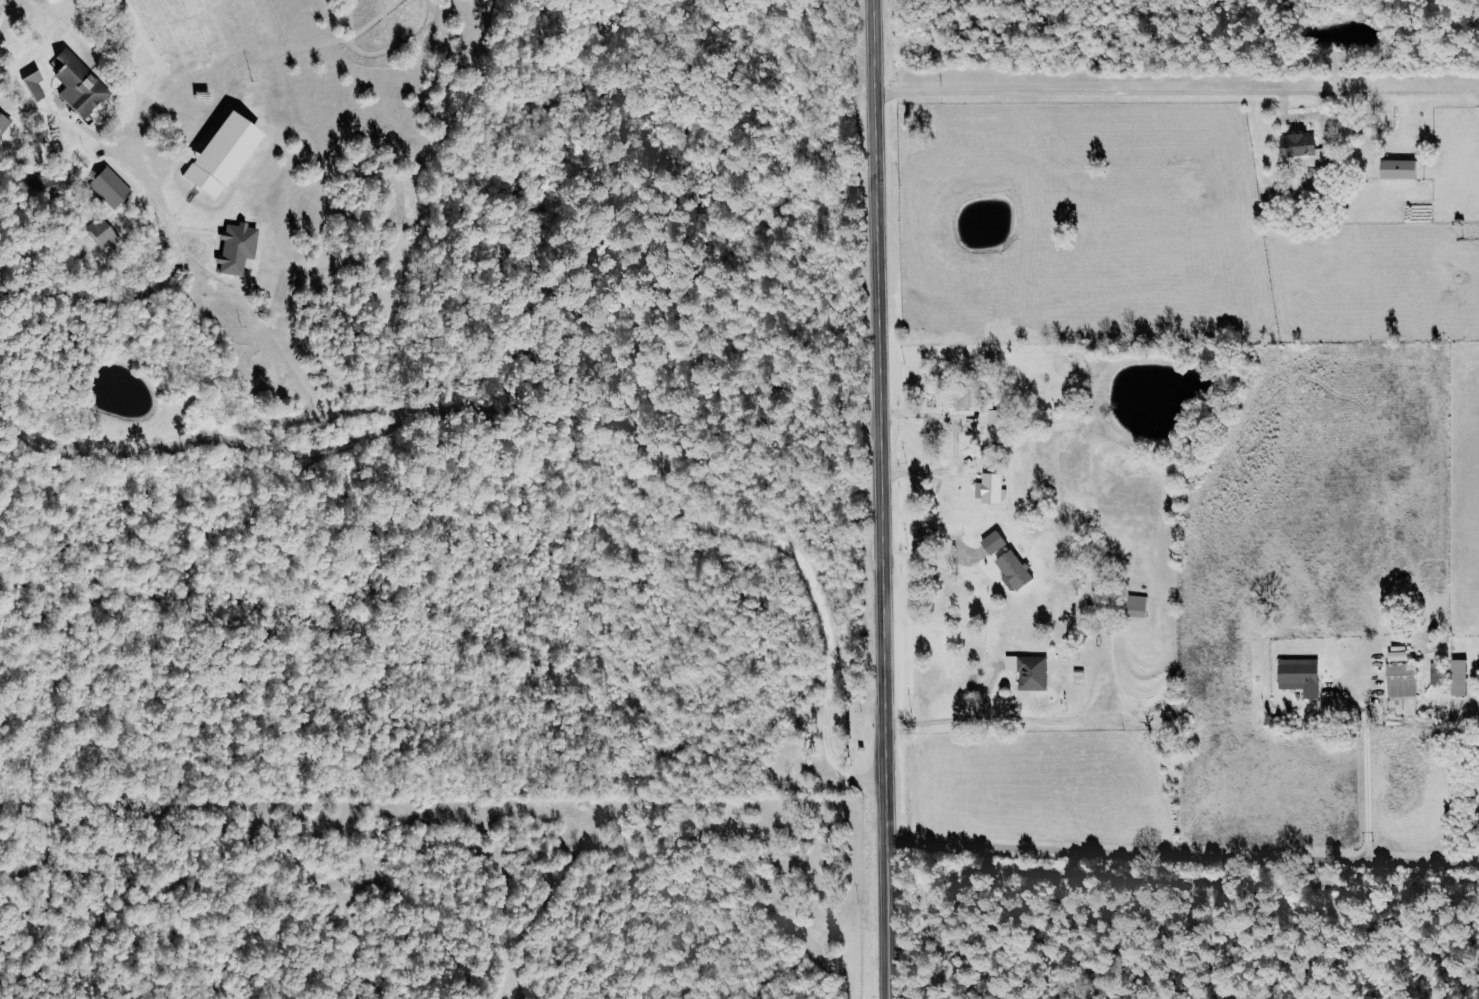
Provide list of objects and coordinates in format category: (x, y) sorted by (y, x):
building: (81, 84)
road: (1079, 88)
building: (1306, 146)
building: (226, 153)
building: (1403, 168)
building: (45, 184)
building: (112, 187)
building: (103, 231)
building: (239, 247)
road: (162, 279)
building: (982, 404)
road: (557, 412)
road: (940, 416)
road: (926, 473)
building: (993, 488)
road: (879, 499)
road: (925, 559)
building: (1010, 560)
building: (1099, 594)
building: (1139, 605)
building: (1032, 671)
building: (1439, 673)
building: (1404, 675)
building: (1303, 677)
building: (1463, 677)
road: (956, 720)
road: (1364, 774)
road: (1182, 854)

